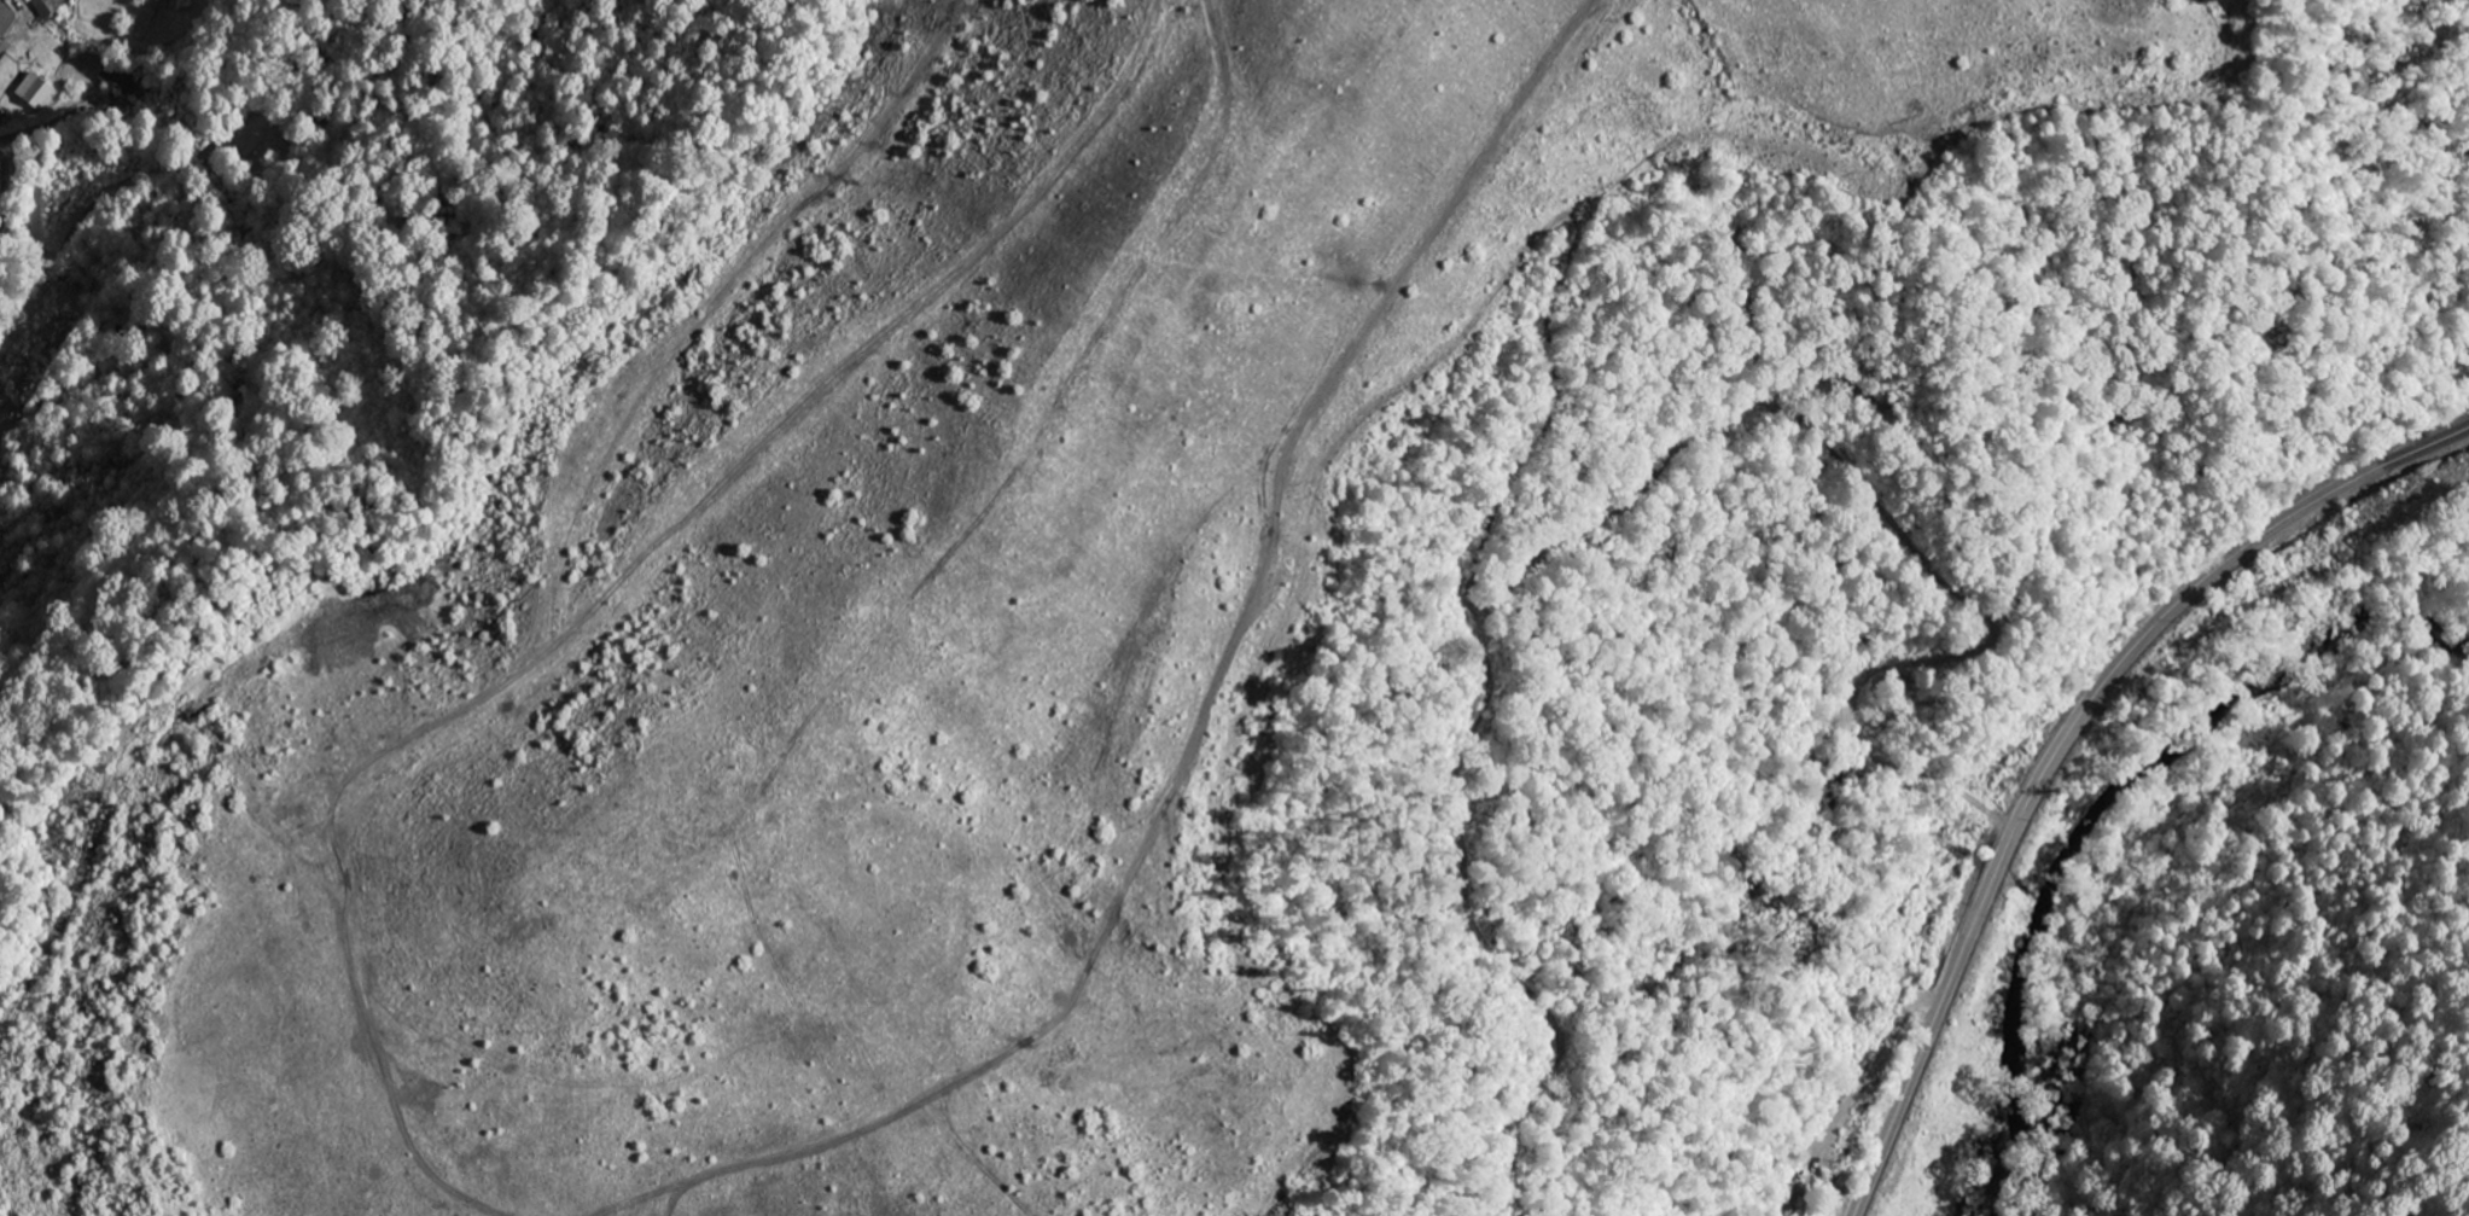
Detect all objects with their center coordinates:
building: (48, 7)
building: (35, 93)
road: (2065, 741)

